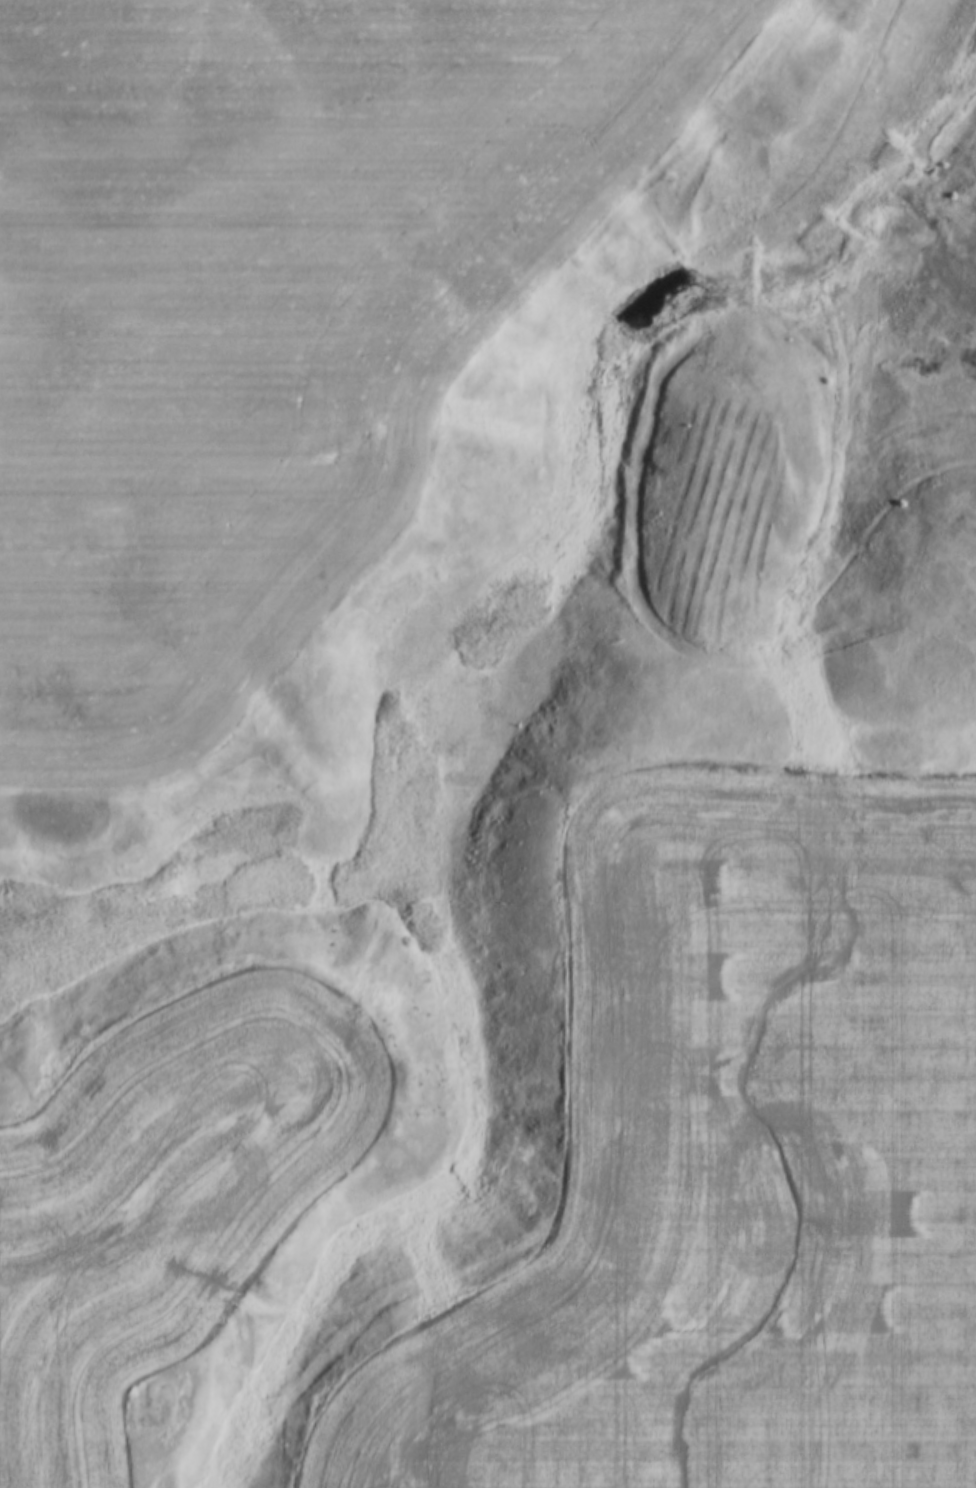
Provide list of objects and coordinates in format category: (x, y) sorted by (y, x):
quarry: (963, 185)

